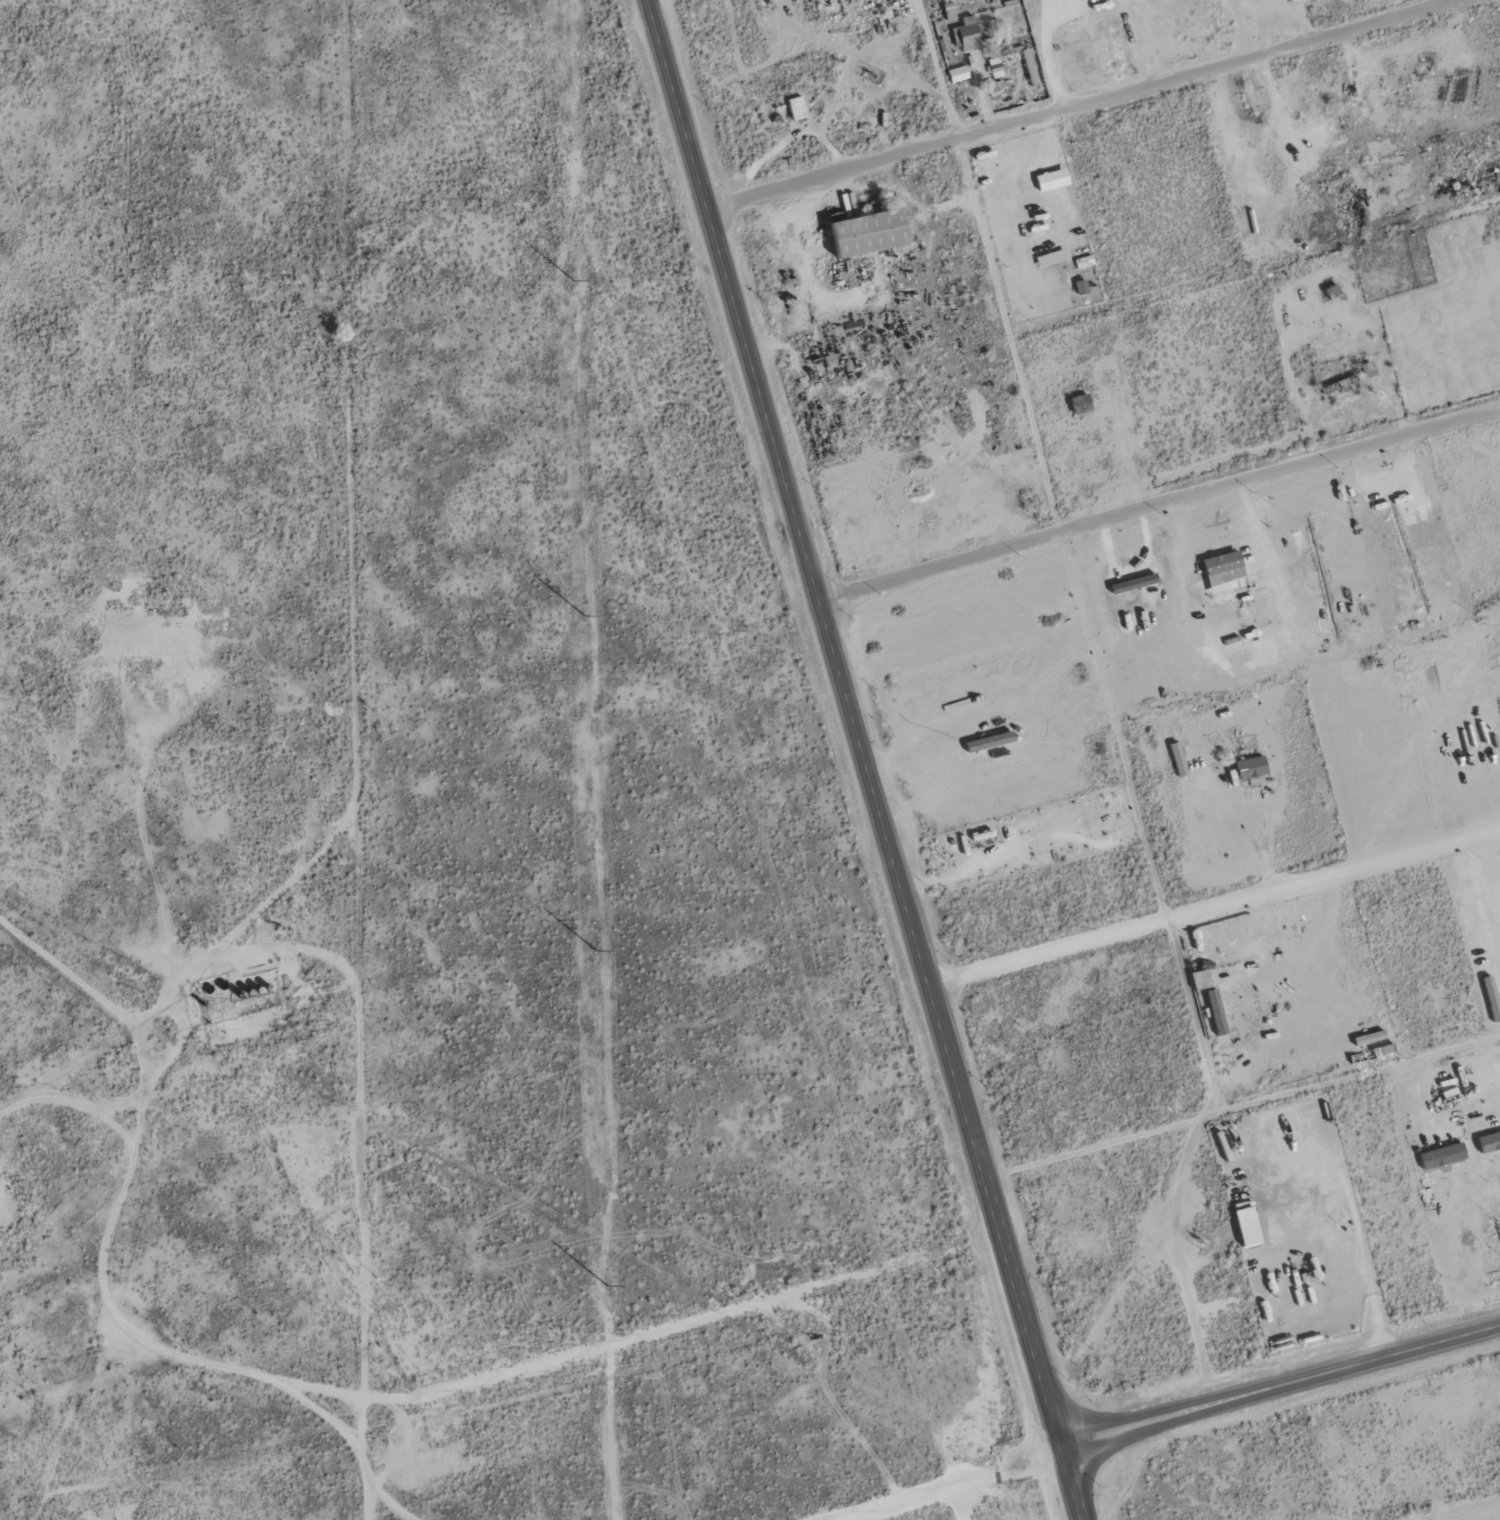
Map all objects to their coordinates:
road: (1247, 26)
building: (966, 34)
road: (1044, 53)
building: (995, 67)
building: (958, 73)
road: (1076, 101)
building: (796, 107)
building: (1050, 179)
building: (869, 231)
building: (1046, 259)
road: (991, 265)
power tower: (575, 279)
building: (1081, 287)
building: (1343, 385)
building: (1080, 403)
road: (1159, 505)
building: (1221, 562)
power tower: (586, 614)
building: (989, 741)
building: (1178, 759)
road: (866, 760)
building: (1251, 769)
road: (1279, 806)
road: (1214, 903)
power tower: (596, 948)
building: (1201, 979)
building: (1216, 1012)
road: (1482, 1056)
building: (1489, 1141)
building: (1442, 1155)
building: (1248, 1232)
power tower: (607, 1284)
road: (1281, 1386)
road: (934, 1481)

